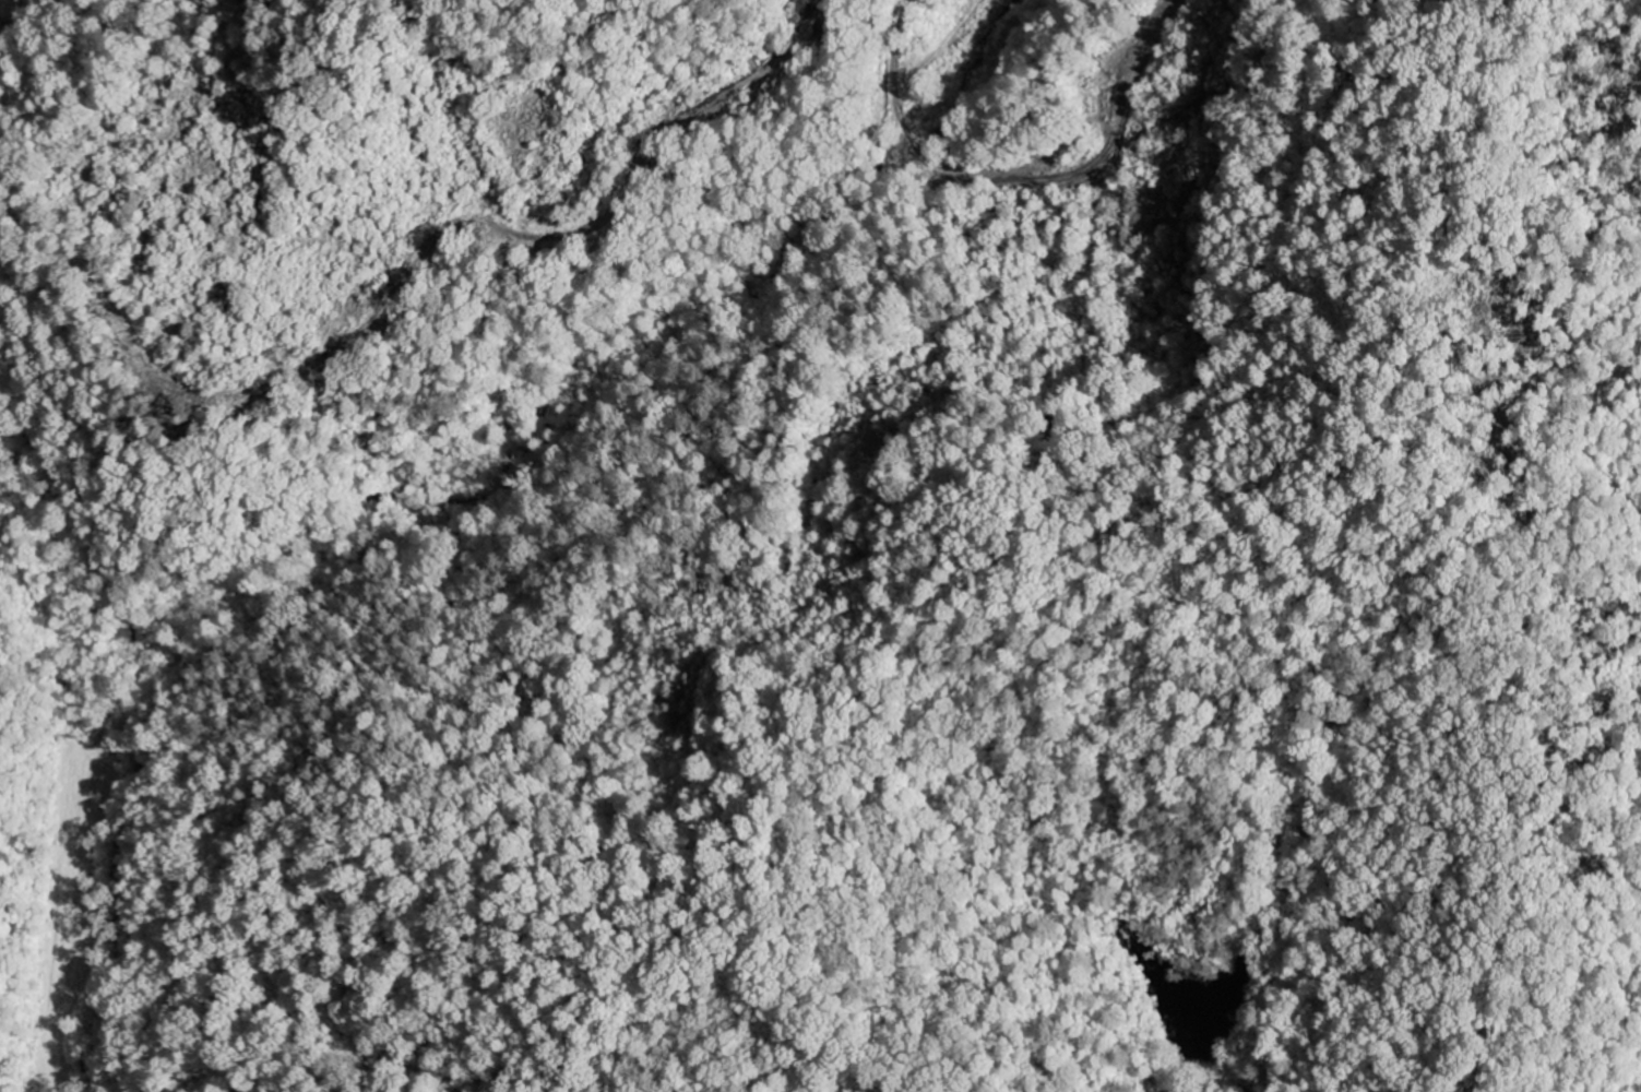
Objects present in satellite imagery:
road: (457, 489)
road: (56, 581)

